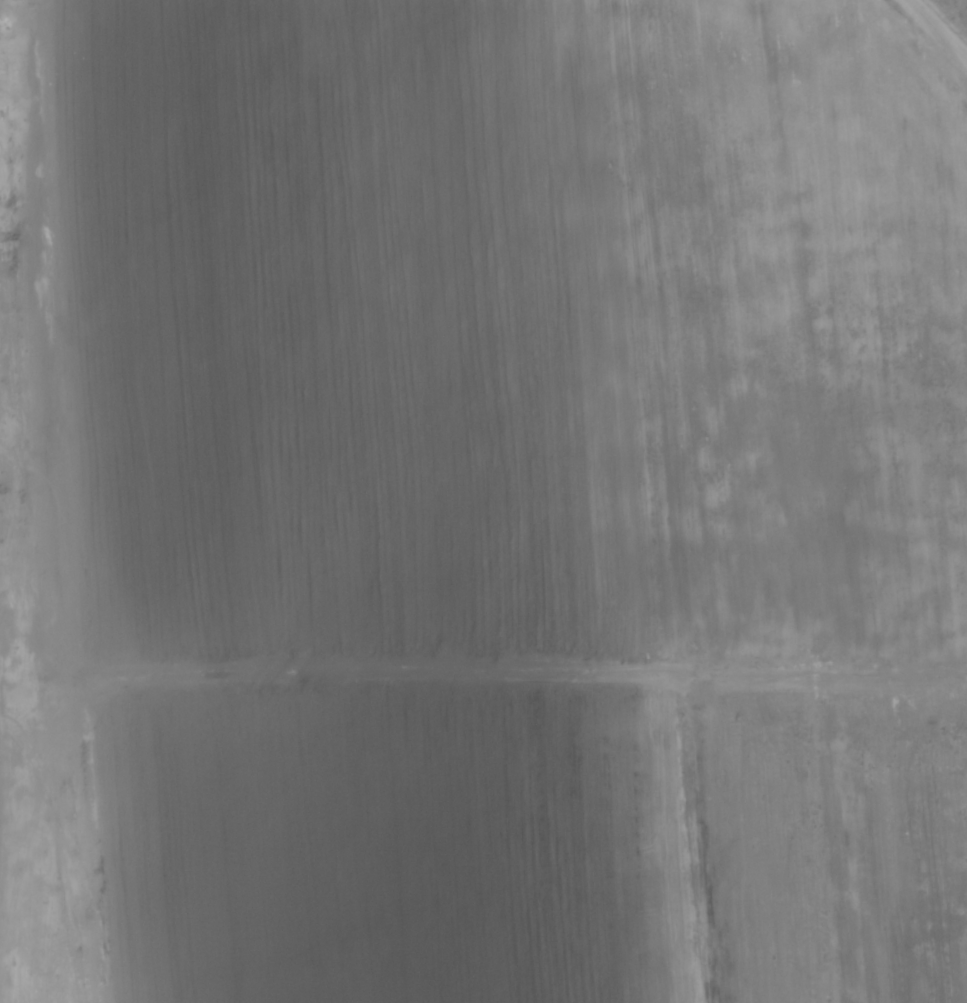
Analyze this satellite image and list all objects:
landfill: (518, 331)
landfill: (551, 851)

